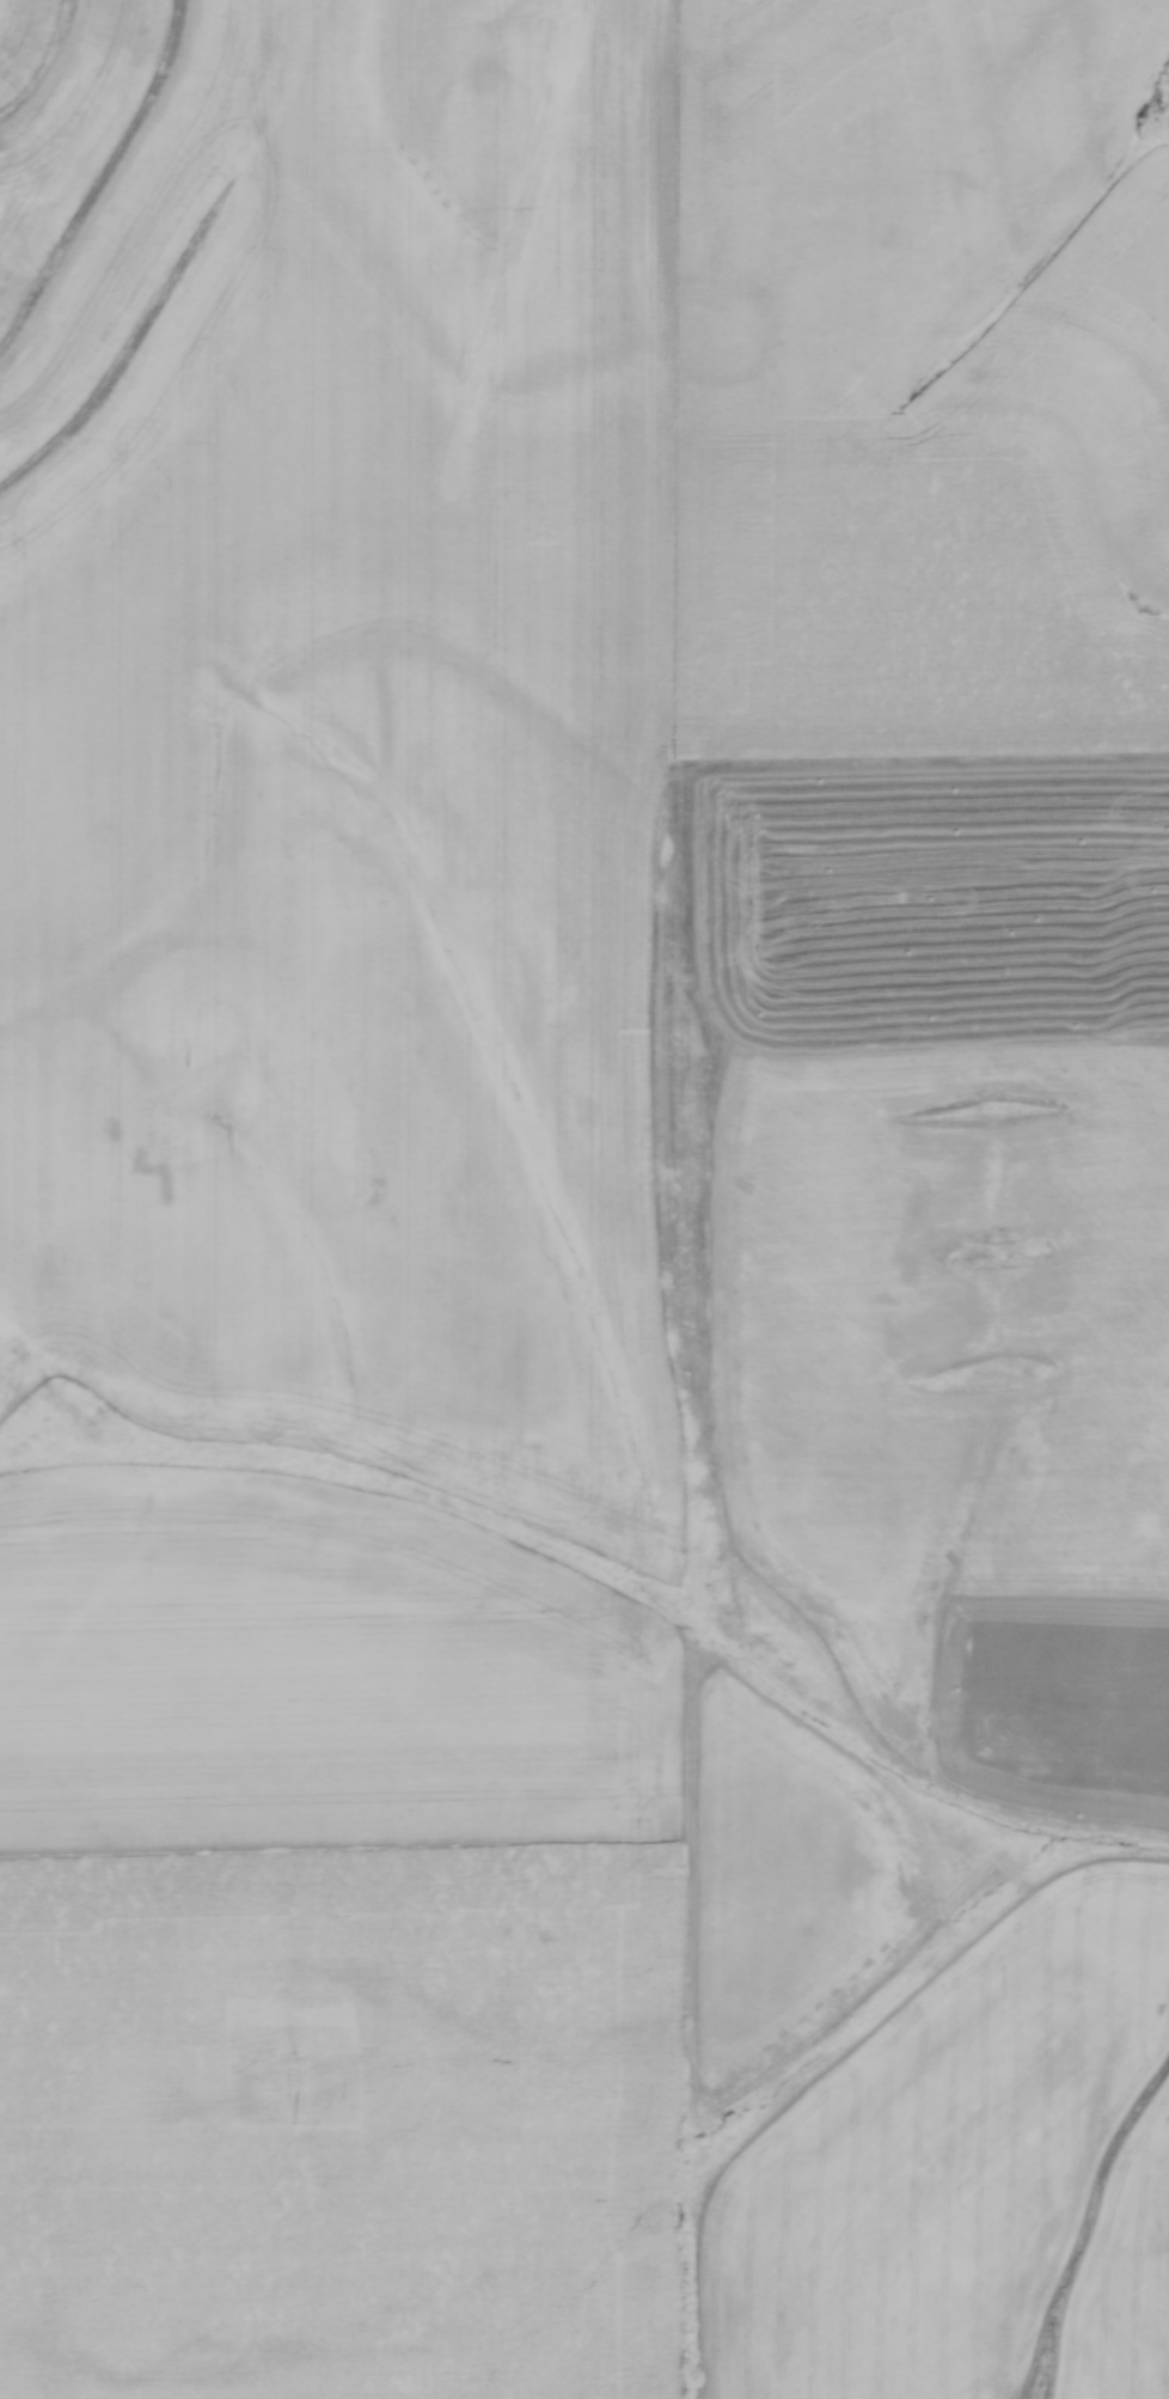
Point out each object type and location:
building: (716, 329)

